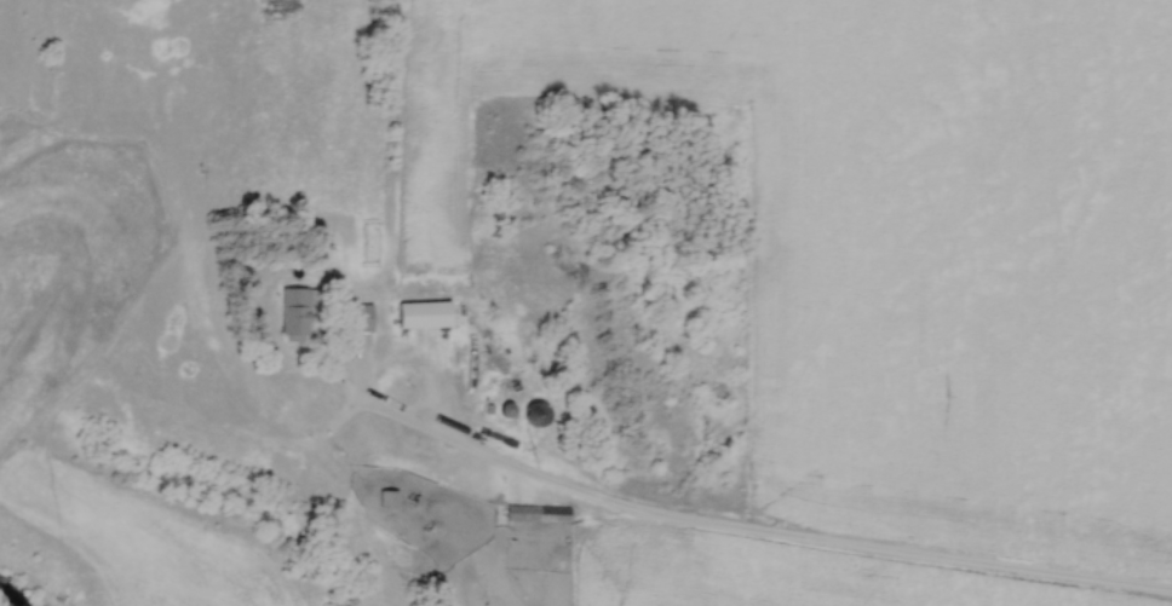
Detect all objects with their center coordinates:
dam: (24, 298)
building: (294, 314)
building: (423, 316)
building: (357, 318)
building: (535, 415)
building: (386, 500)
building: (521, 514)
road: (708, 530)

